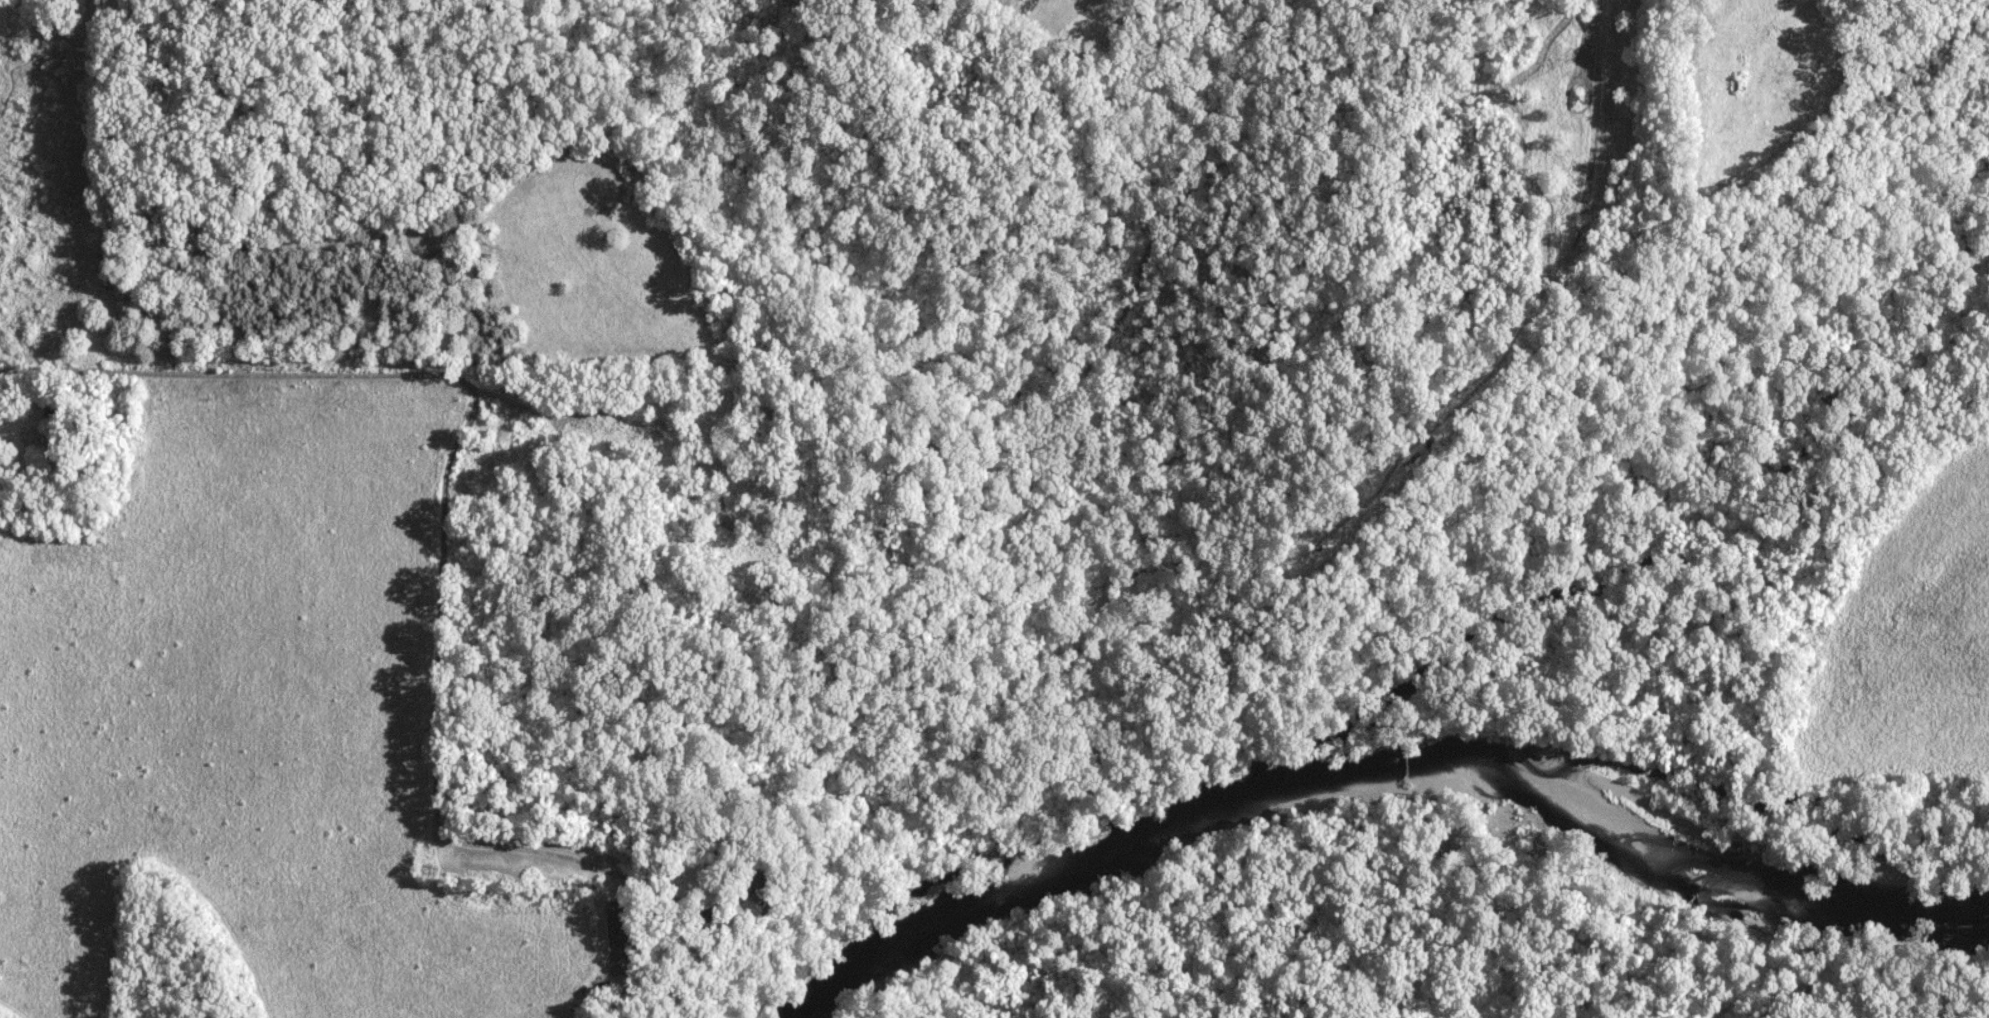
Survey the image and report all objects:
road: (235, 373)
building: (51, 410)
building: (767, 417)
road: (605, 478)
crop: (1907, 636)
road: (436, 728)
river: (1390, 766)
building: (753, 890)

